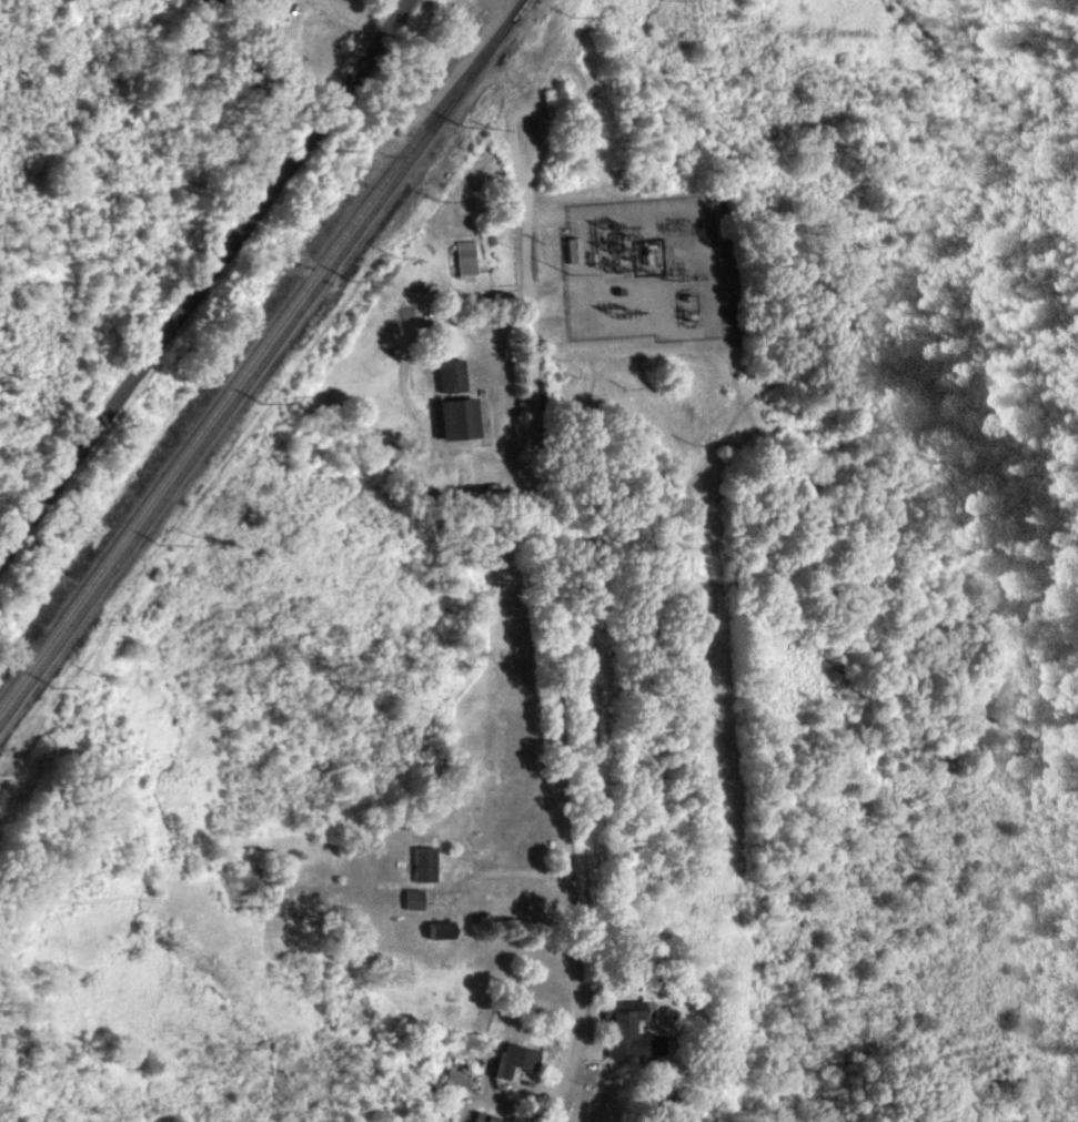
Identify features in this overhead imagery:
building: (466, 259)
power substation: (643, 270)
road: (202, 285)
railway: (258, 346)
railway: (263, 361)
building: (452, 376)
building: (460, 421)
road: (548, 610)
building: (425, 866)
building: (415, 901)
building: (628, 1032)
building: (515, 1062)
building: (456, 1082)
building: (487, 1119)

